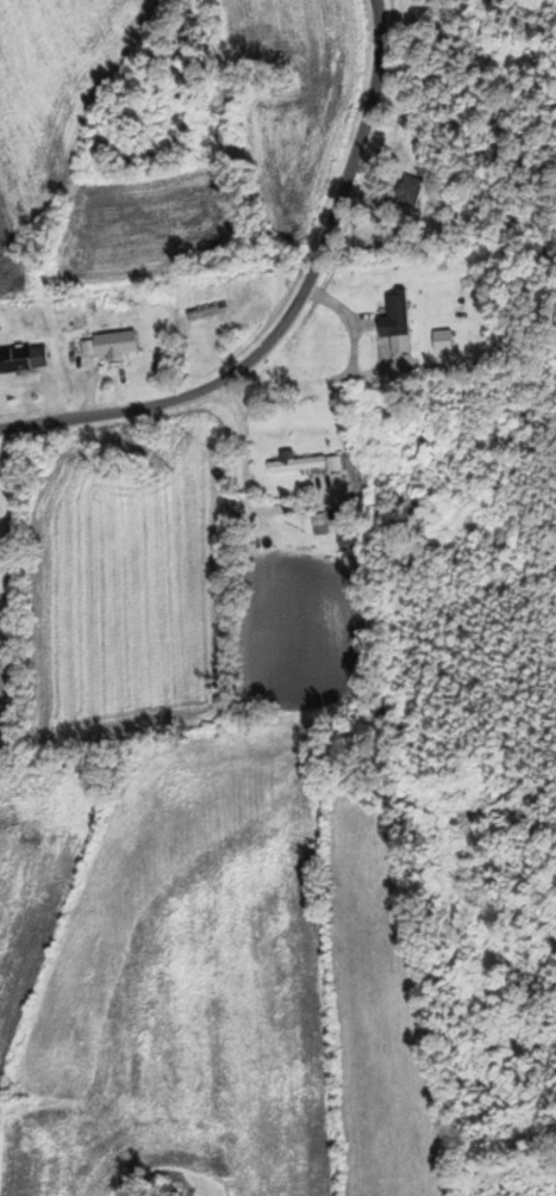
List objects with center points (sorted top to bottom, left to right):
building: (410, 190)
road: (124, 271)
road: (292, 310)
building: (206, 311)
building: (114, 342)
building: (23, 358)
building: (306, 463)
building: (332, 566)

